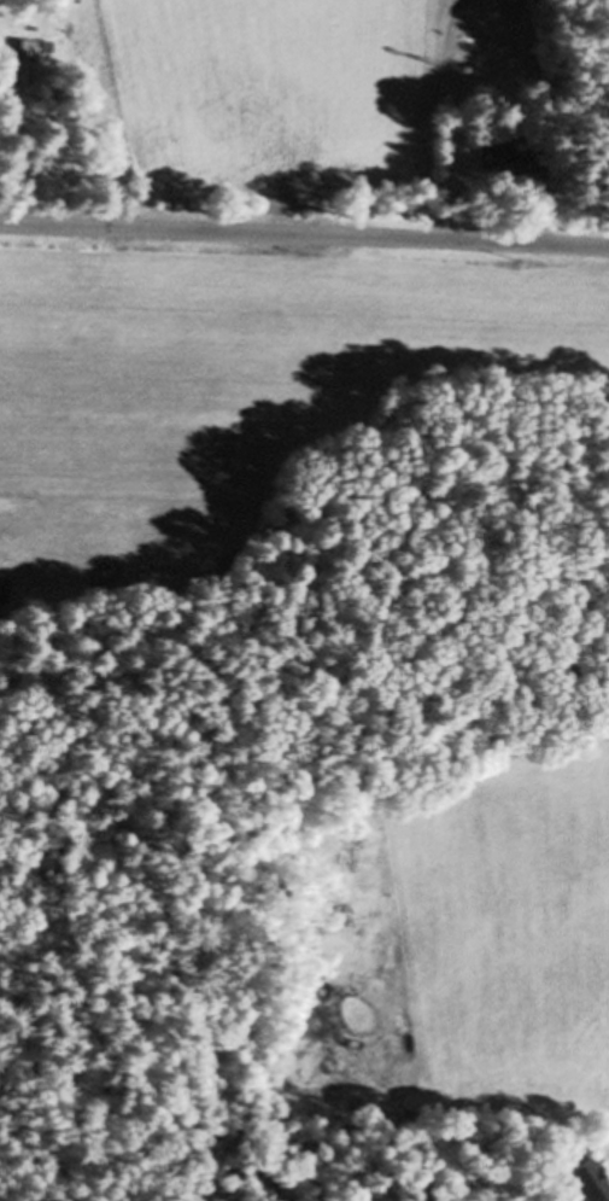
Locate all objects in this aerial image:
building: (515, 1)
building: (23, 60)
building: (488, 162)
road: (304, 229)
building: (582, 1183)

